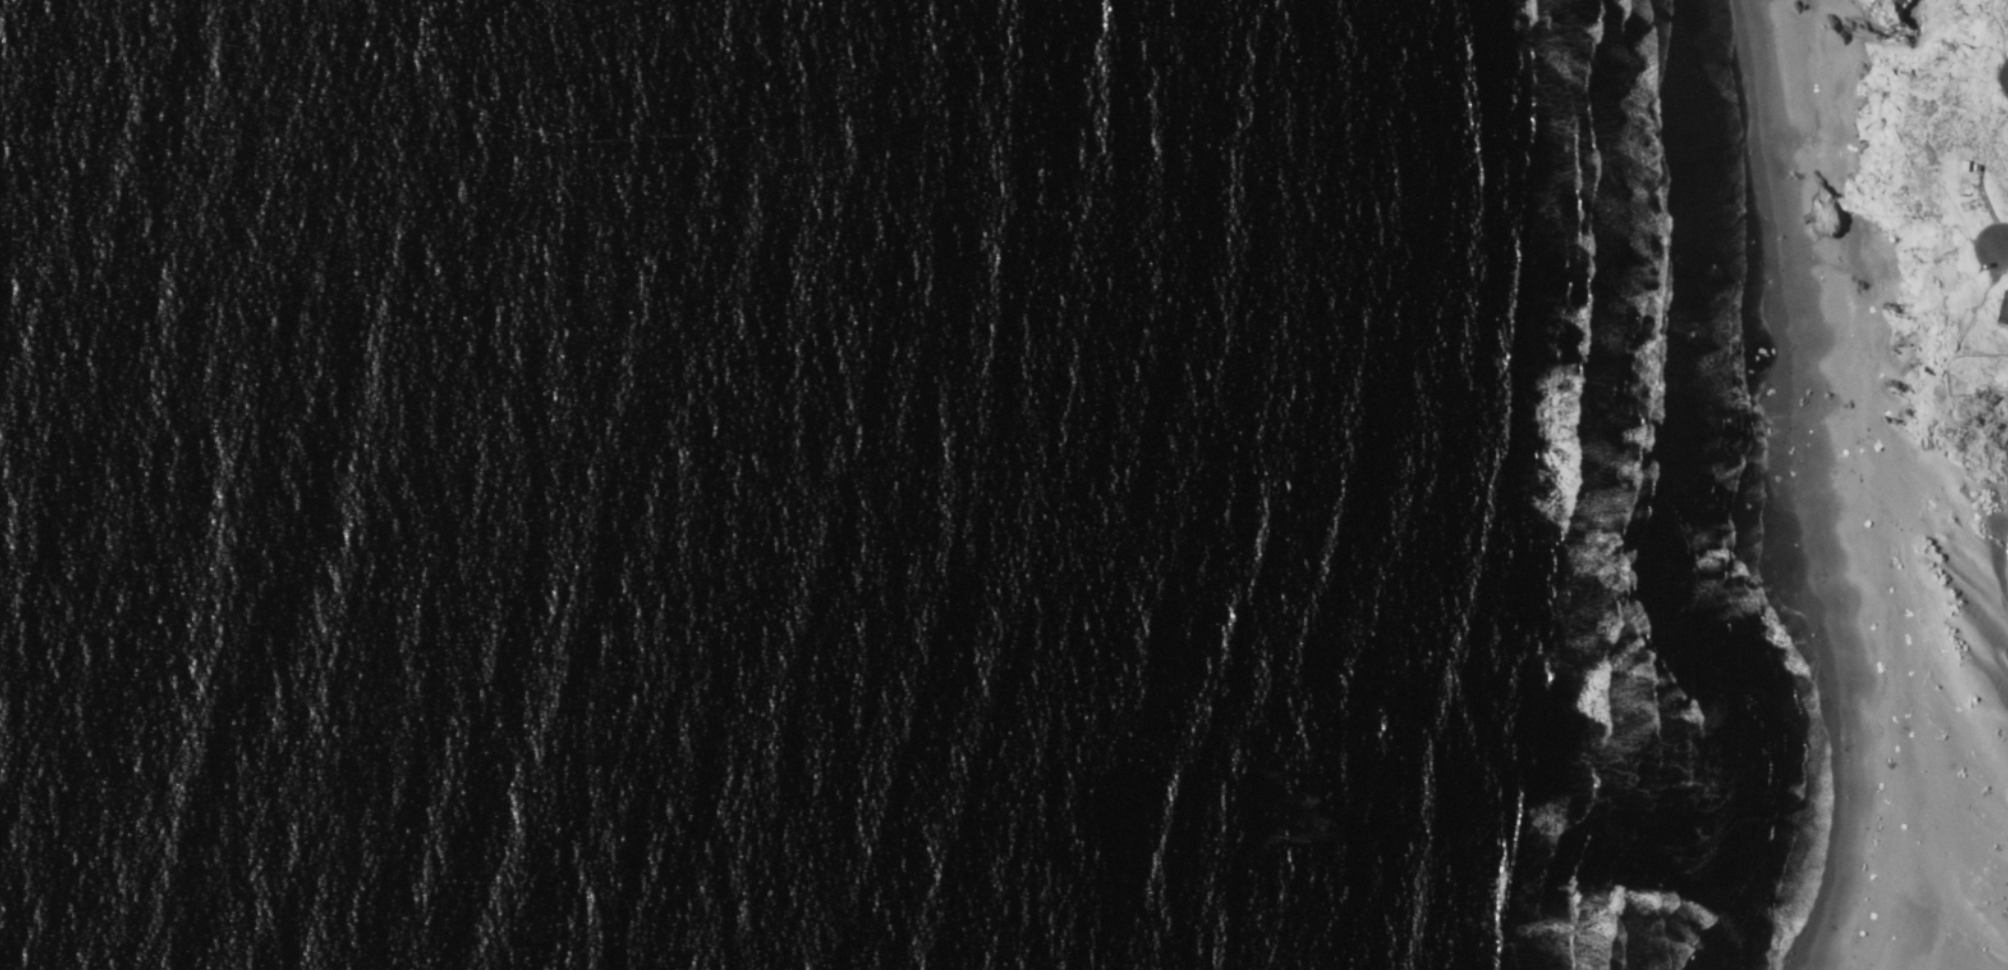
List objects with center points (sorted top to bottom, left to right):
road: (2003, 250)
building: (2005, 309)
parking lot: (2003, 569)

